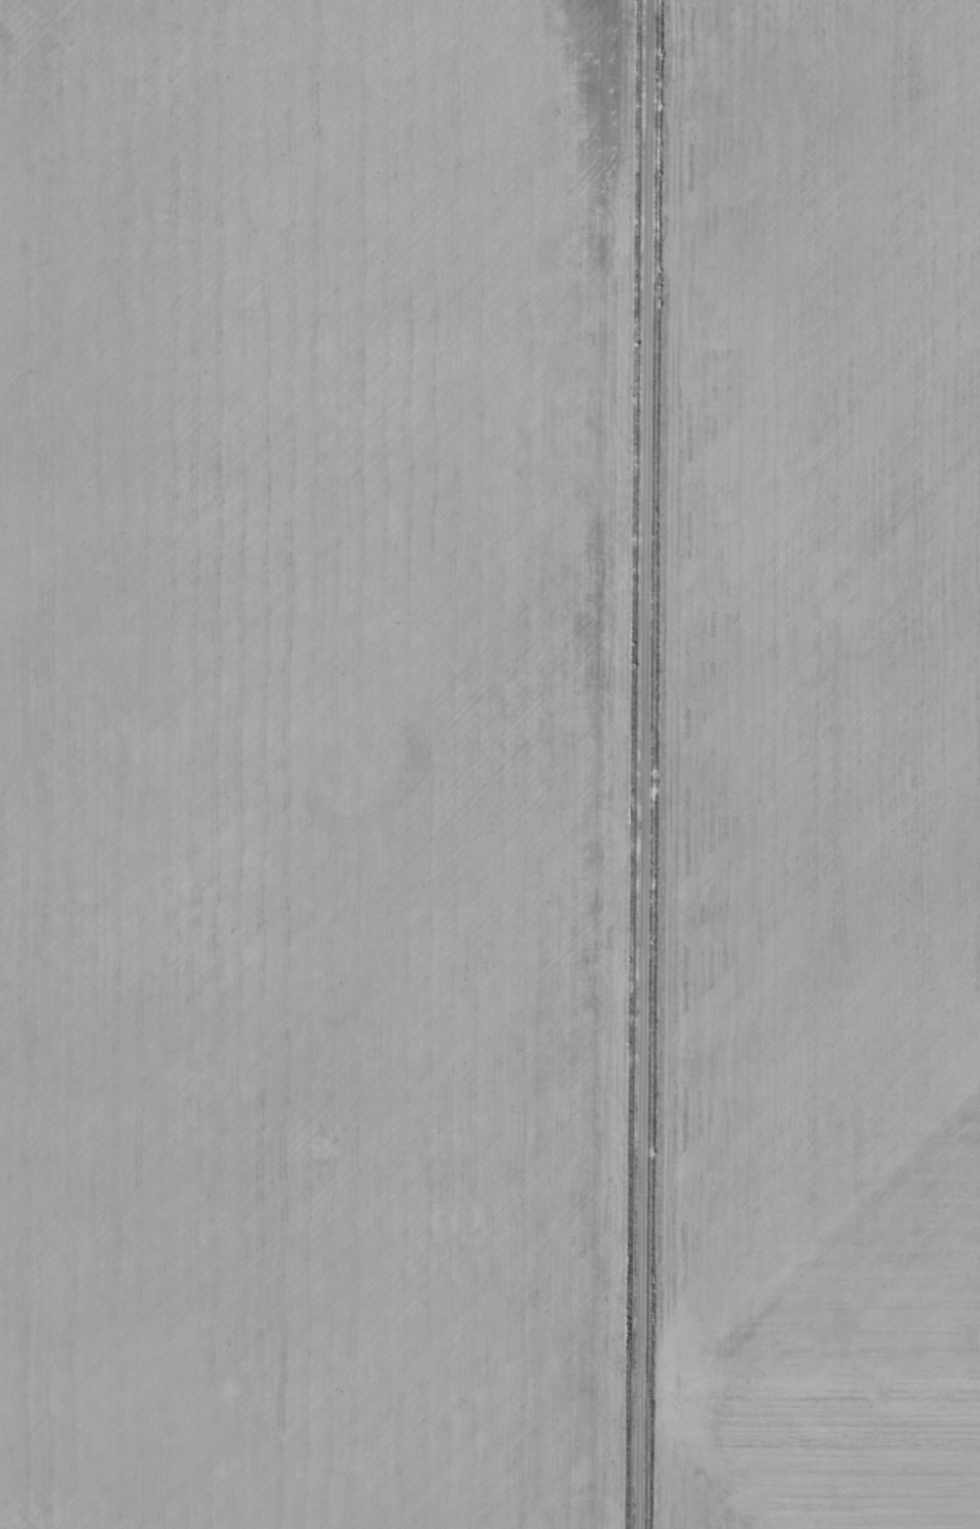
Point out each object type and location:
road: (646, 764)

